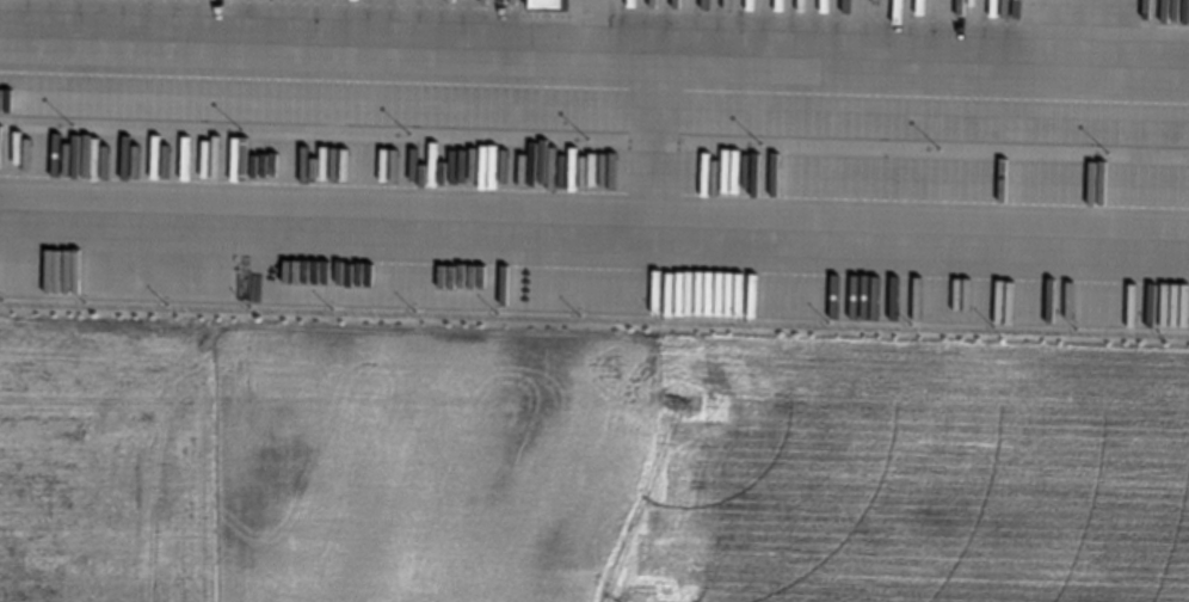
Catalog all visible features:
building: (543, 5)
road: (594, 220)
crop: (585, 466)

